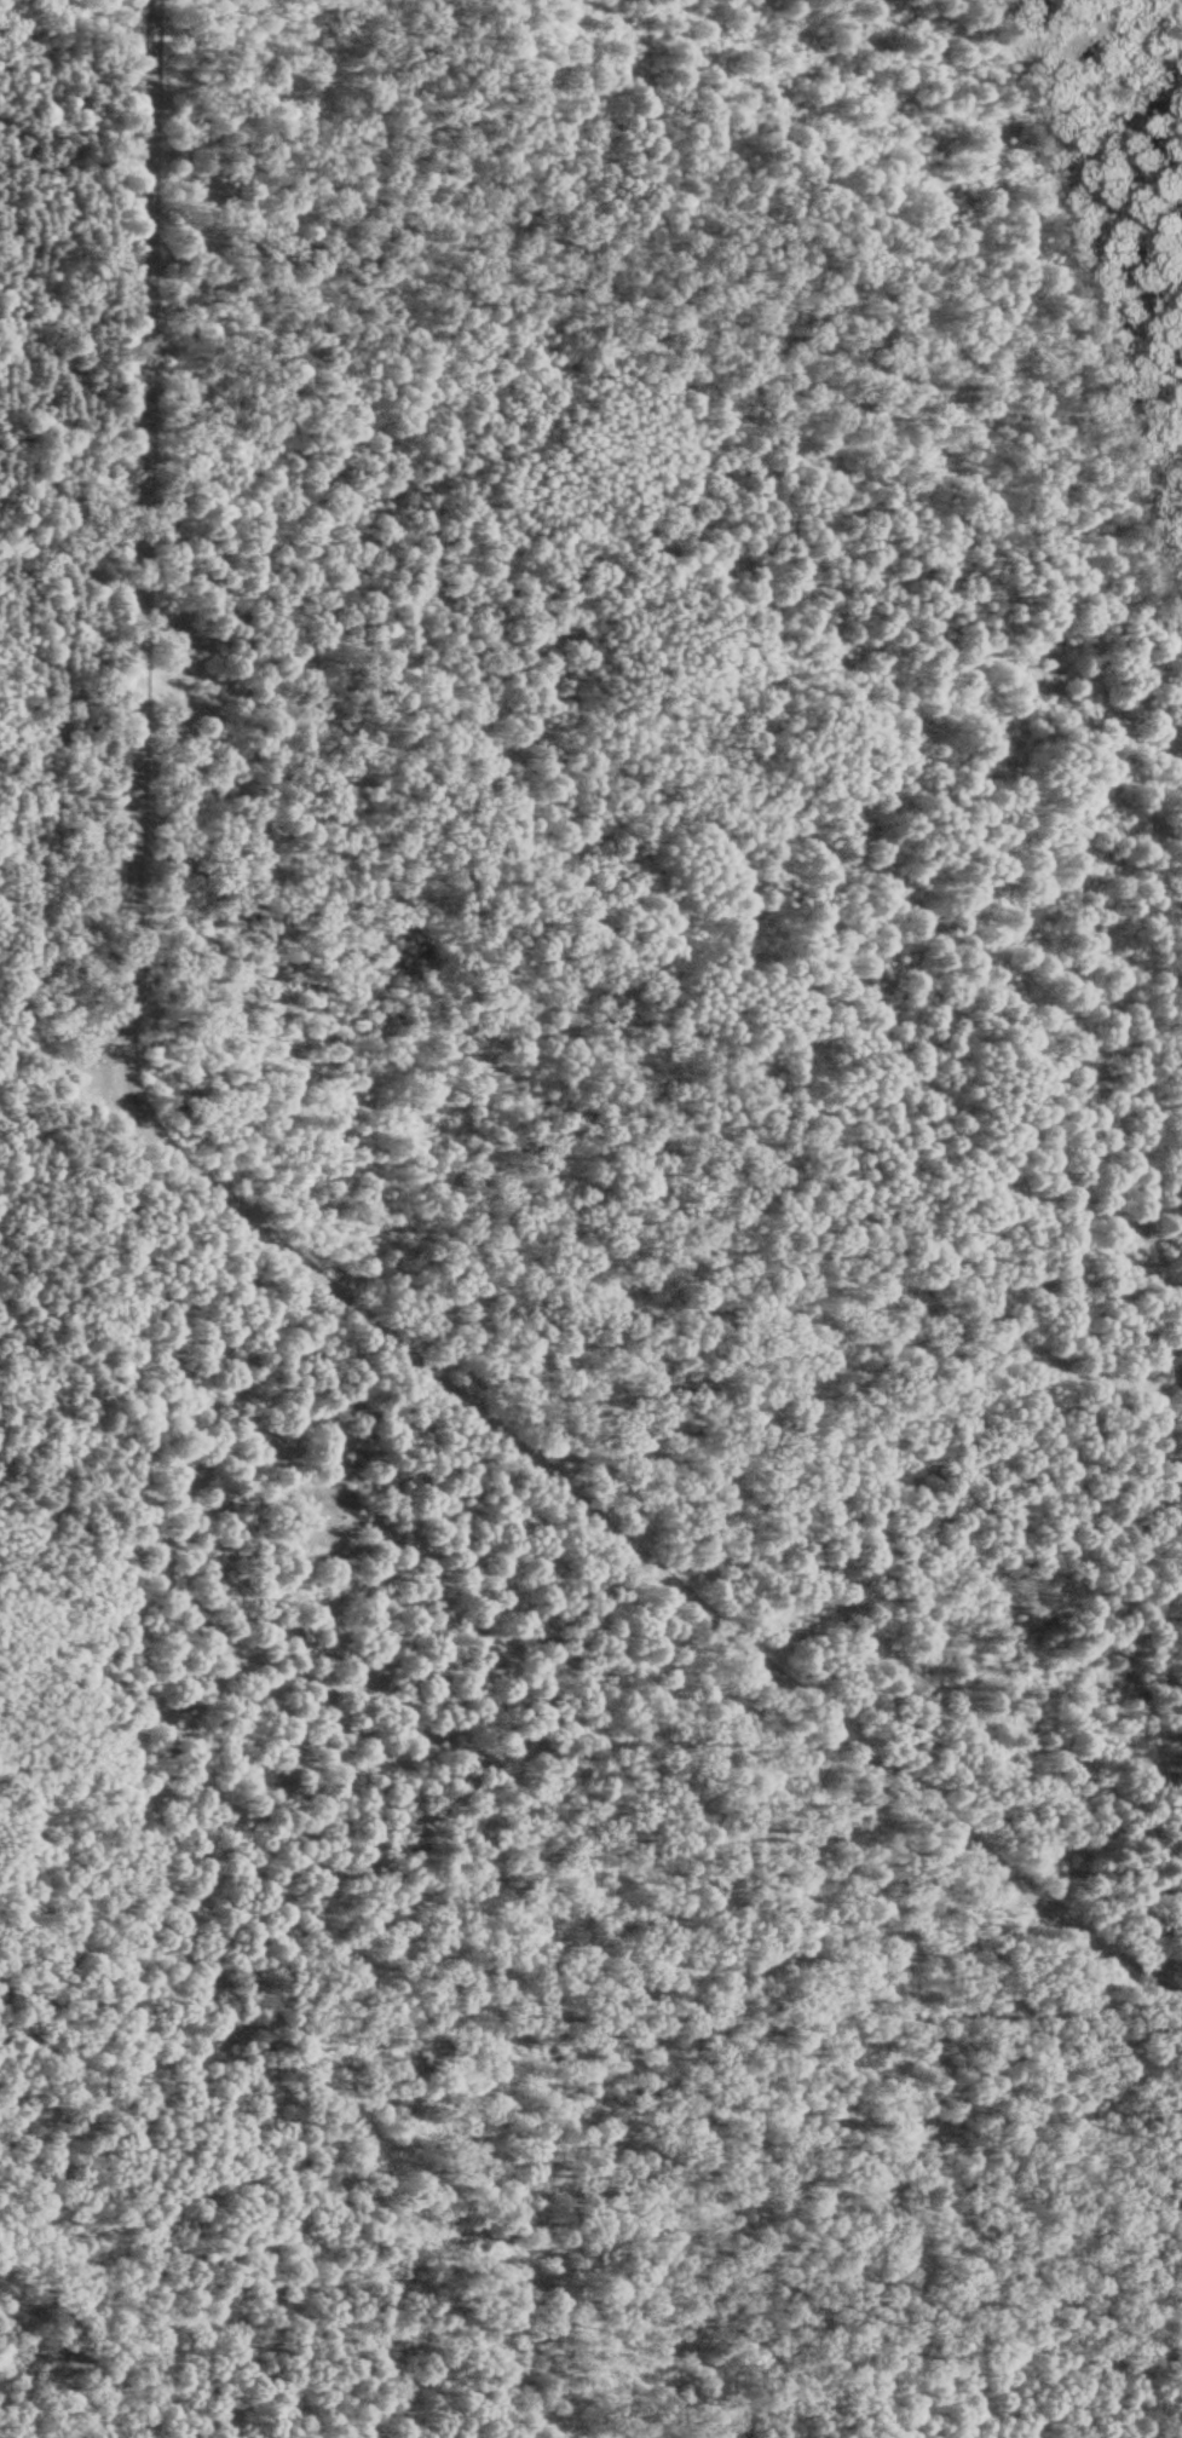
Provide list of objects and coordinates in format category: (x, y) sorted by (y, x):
road: (148, 547)
road: (69, 1045)
road: (158, 1125)
road: (673, 1600)

